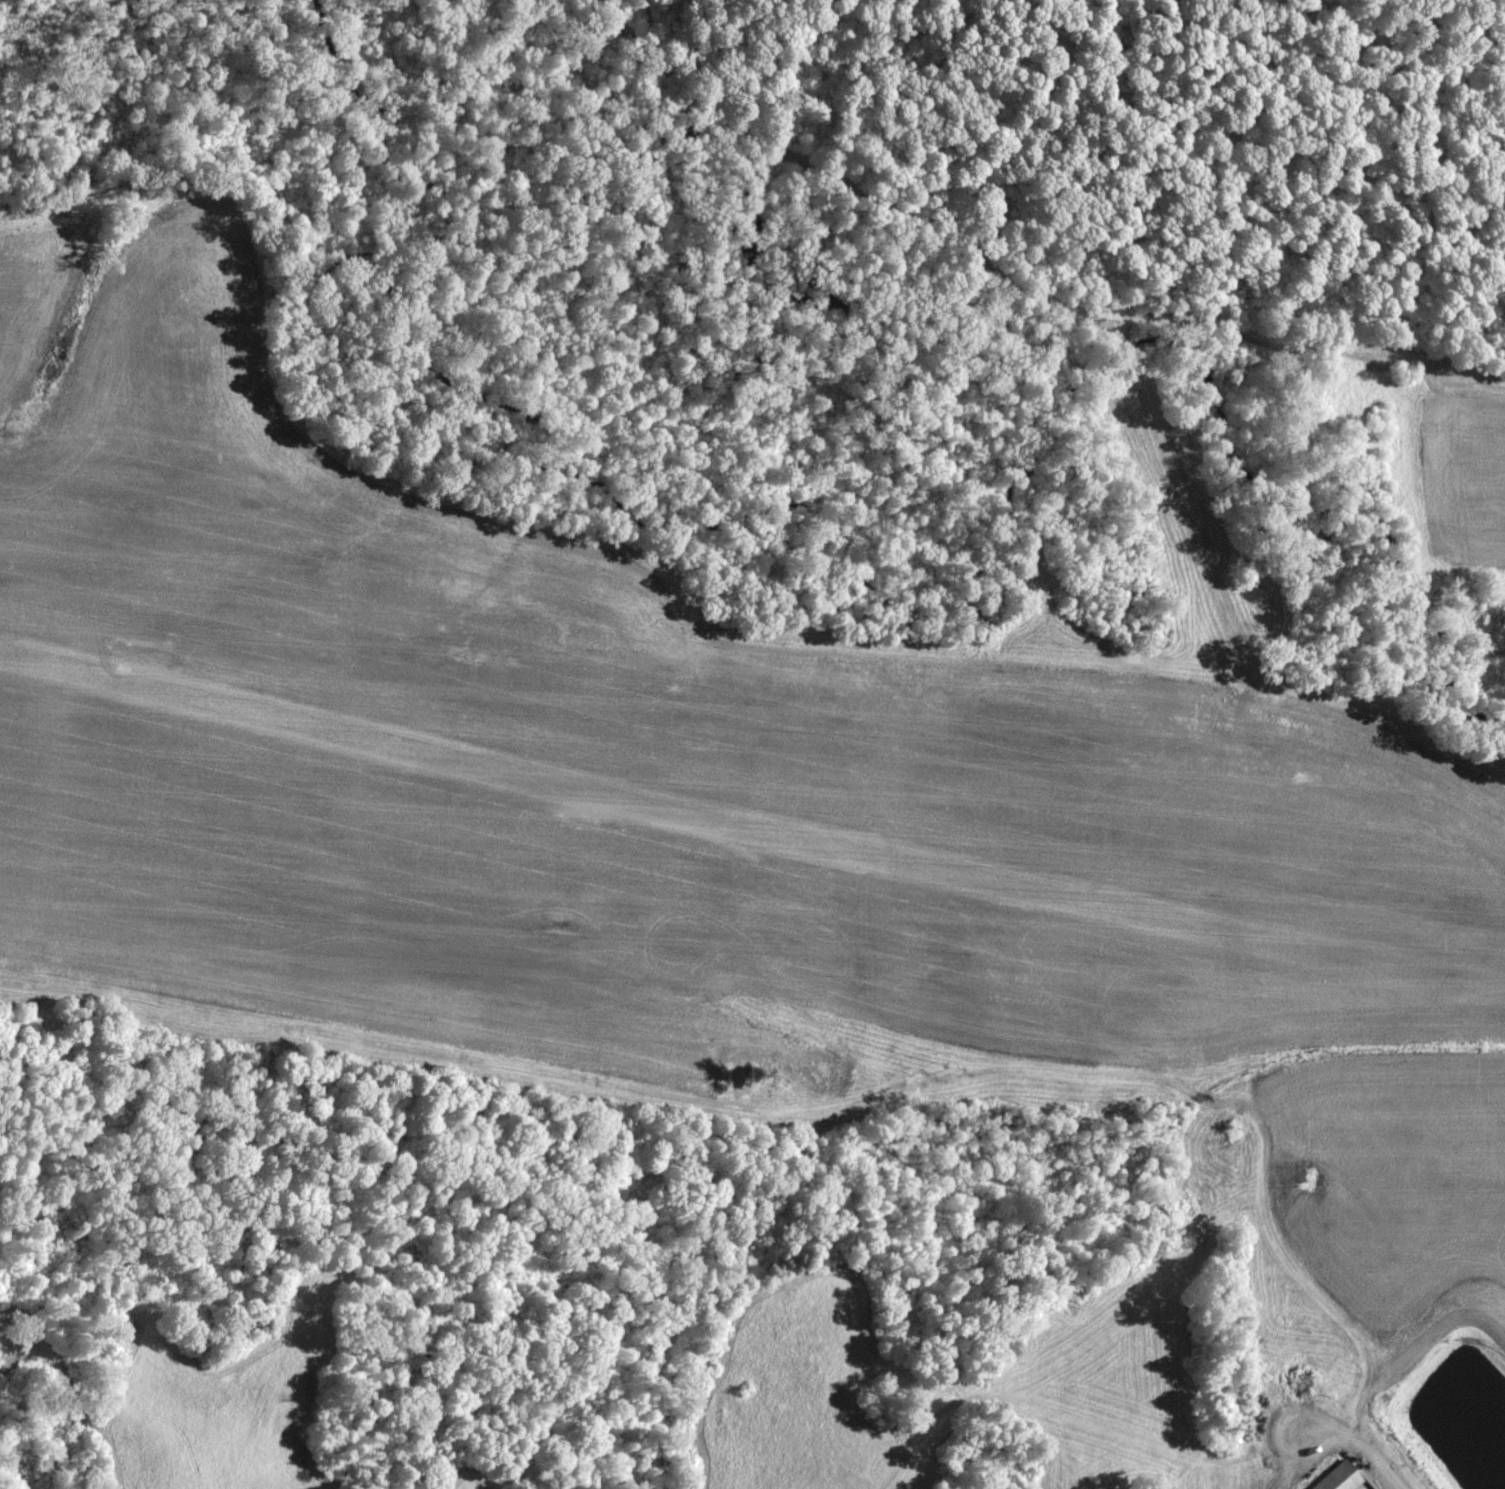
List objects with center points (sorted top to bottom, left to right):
building: (1339, 1478)

